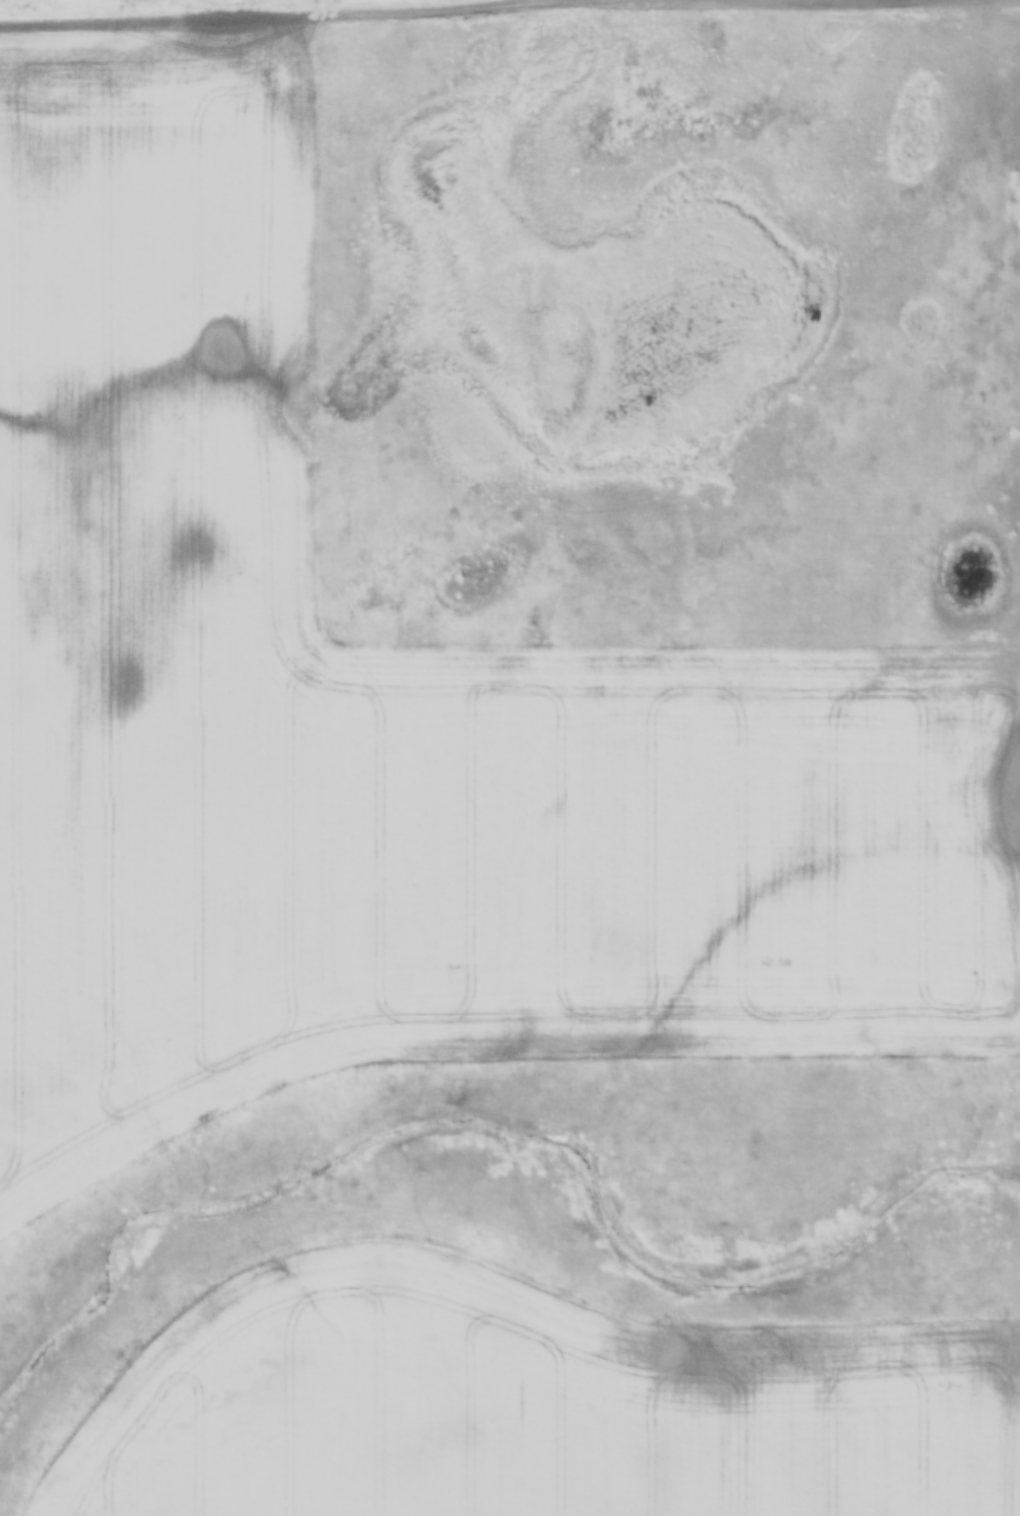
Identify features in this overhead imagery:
road: (459, 4)

